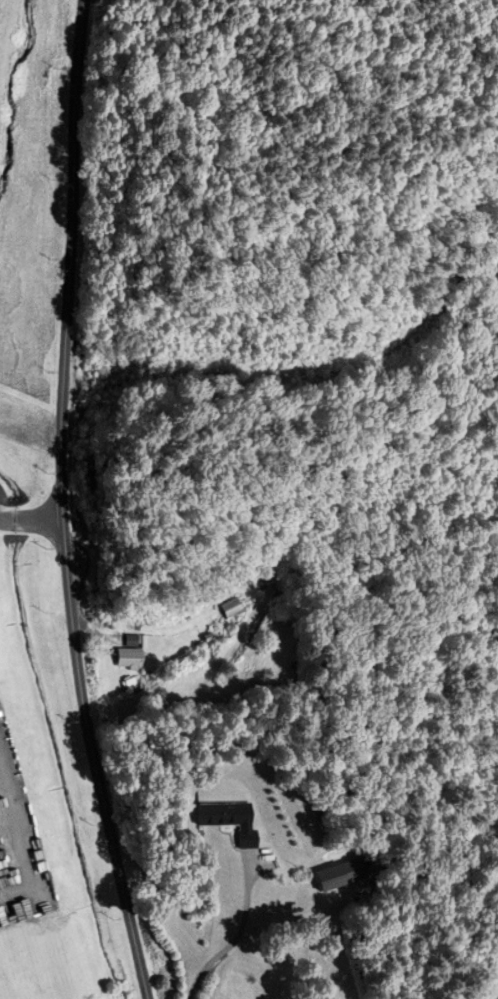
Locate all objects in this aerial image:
road: (64, 503)
road: (31, 520)
building: (230, 608)
building: (125, 641)
building: (119, 659)
building: (218, 820)
road: (82, 877)
building: (319, 878)
road: (238, 937)

